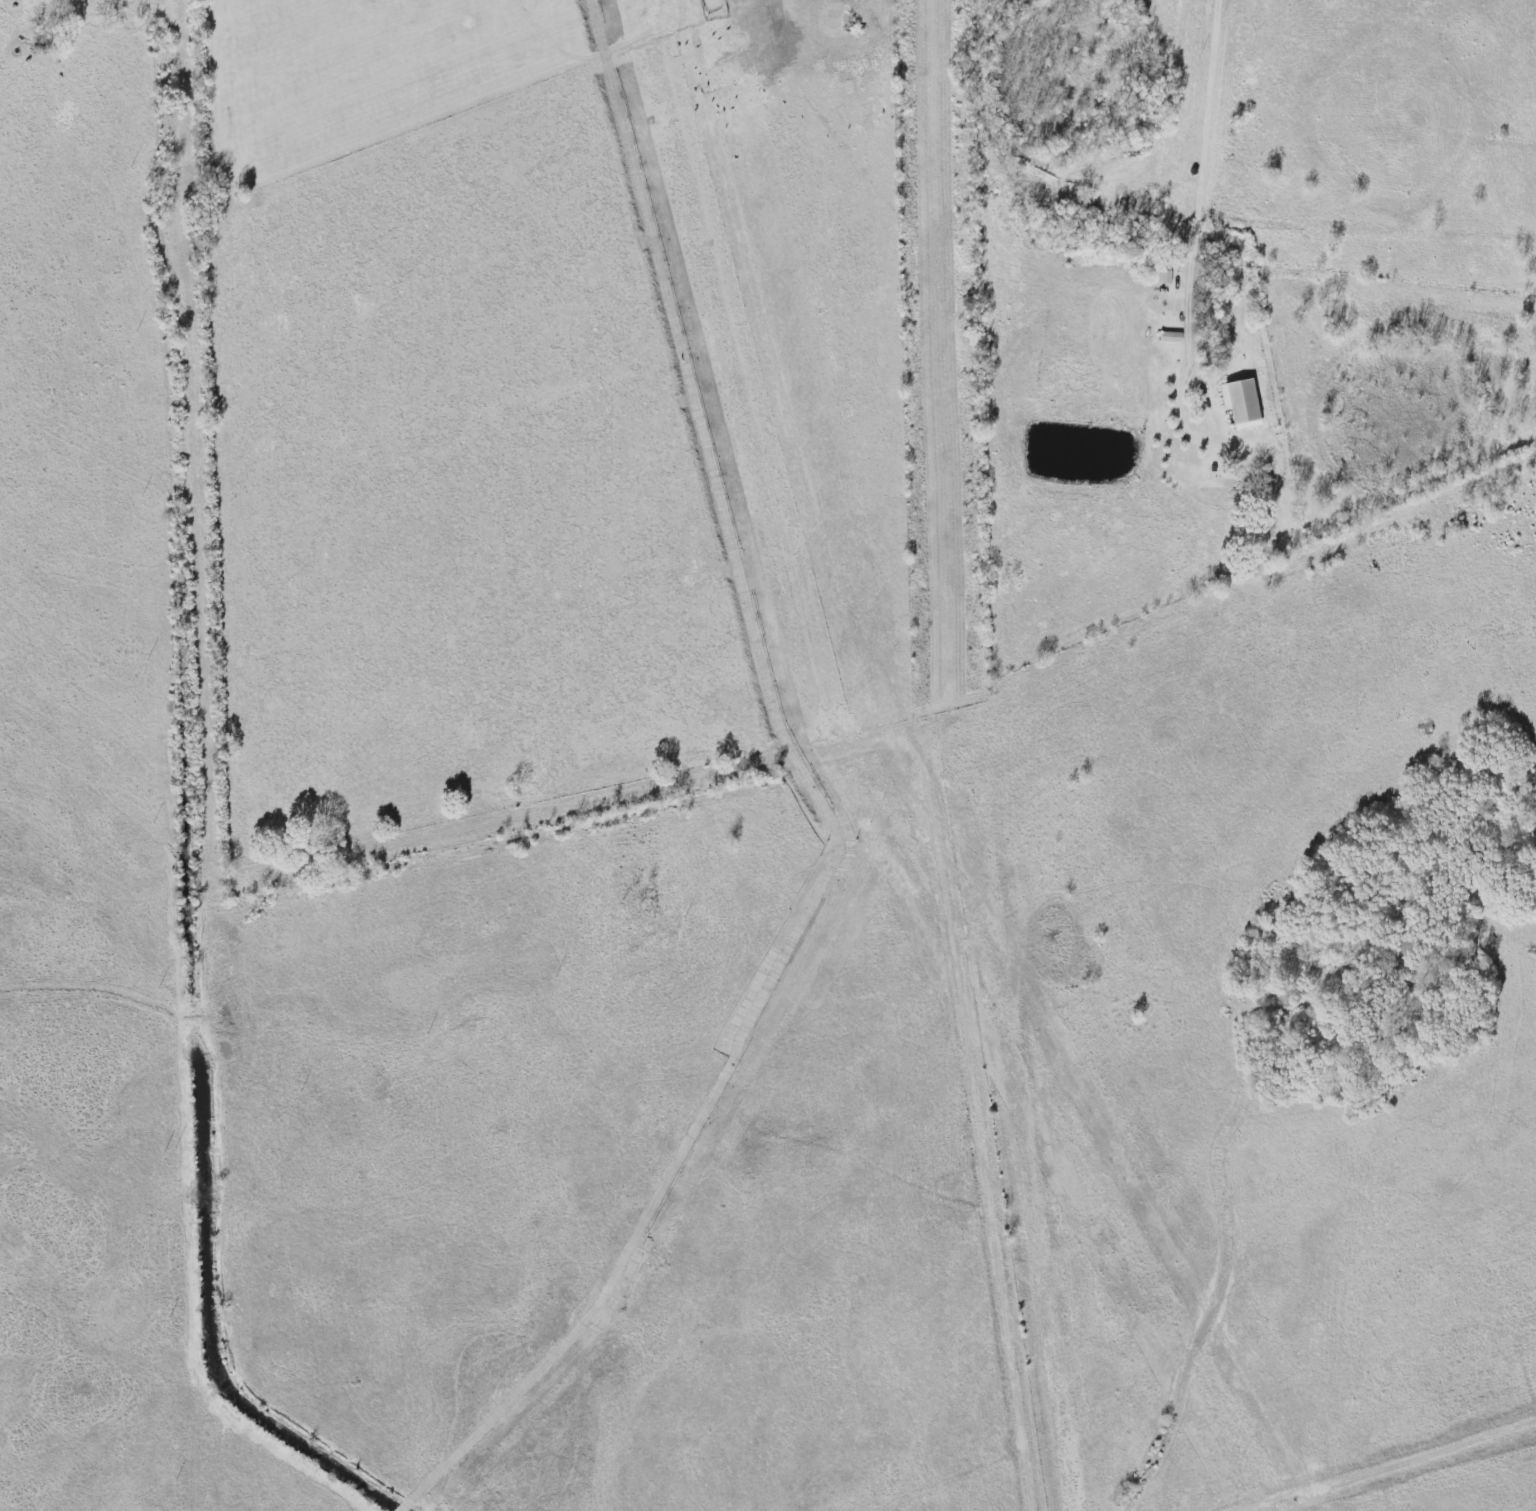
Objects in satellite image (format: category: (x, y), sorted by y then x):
road: (1393, 41)
road: (1212, 109)
building: (1165, 276)
road: (1191, 308)
building: (1171, 336)
building: (1241, 402)

